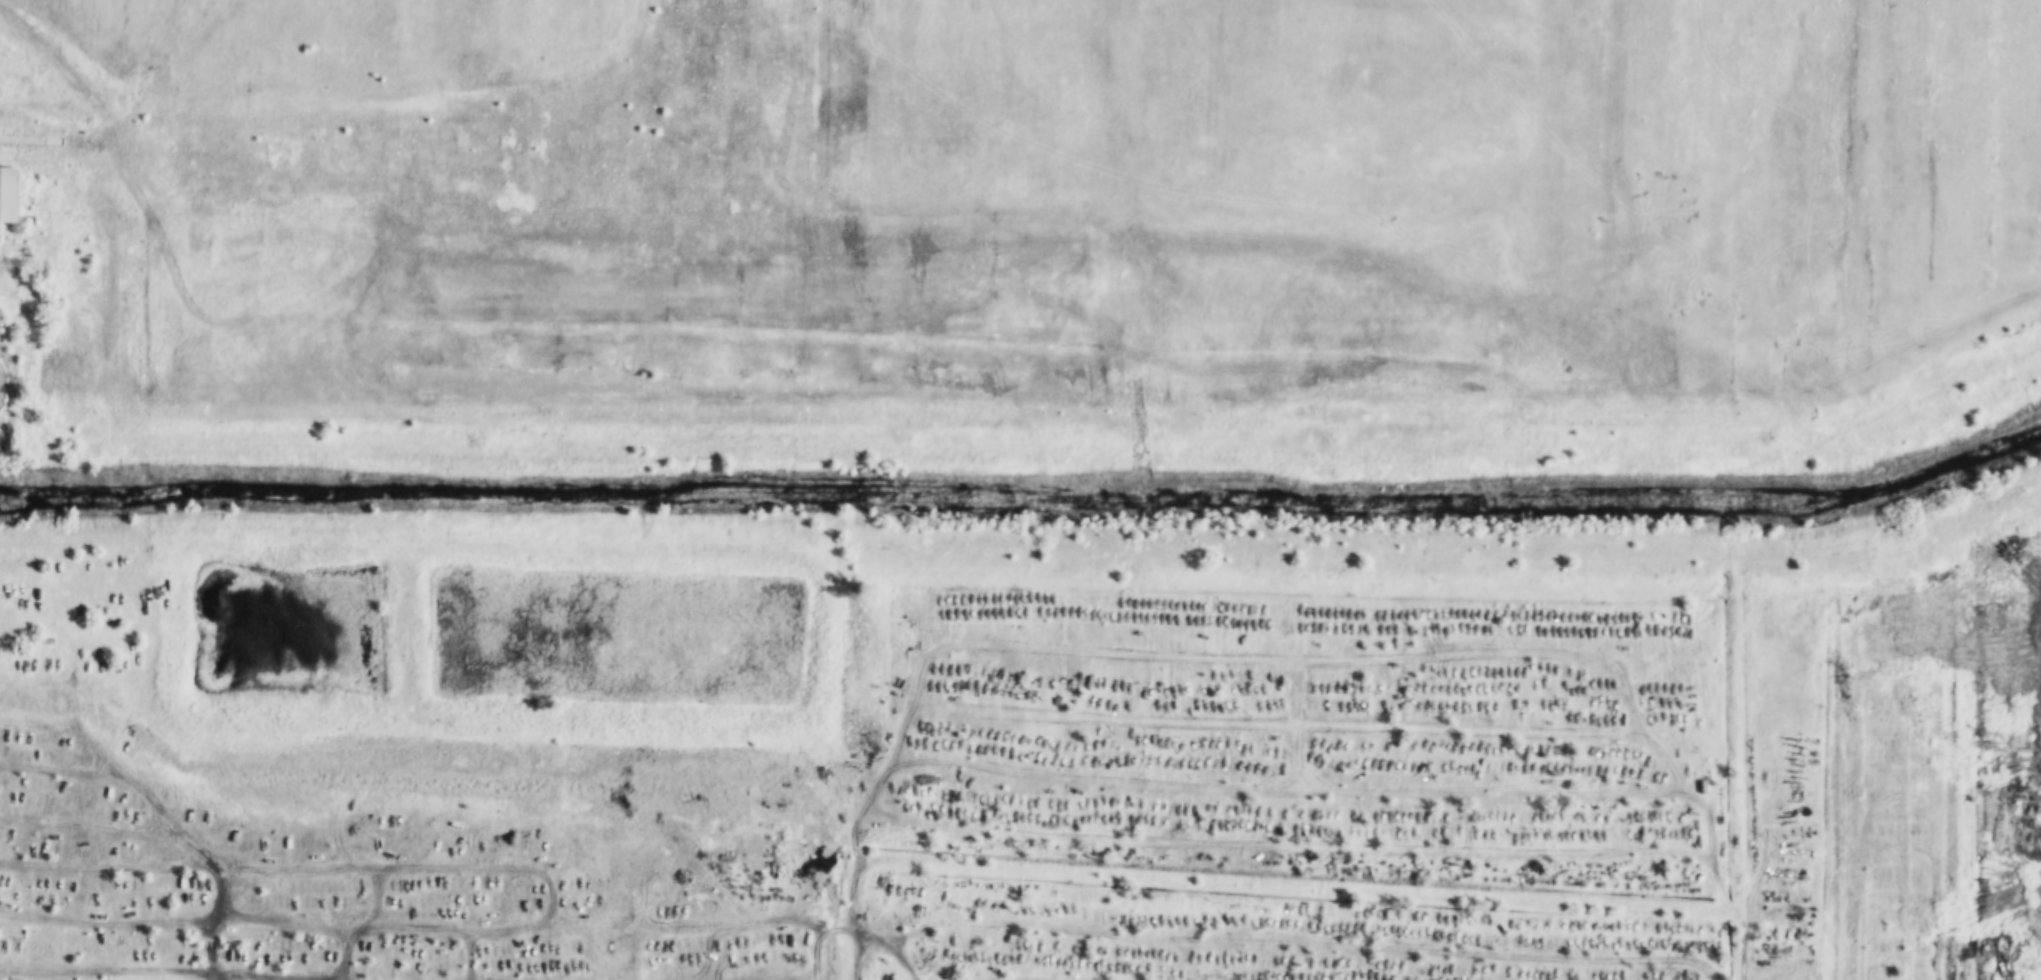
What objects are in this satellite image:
building: (22, 153)
road: (838, 165)
building: (10, 194)

